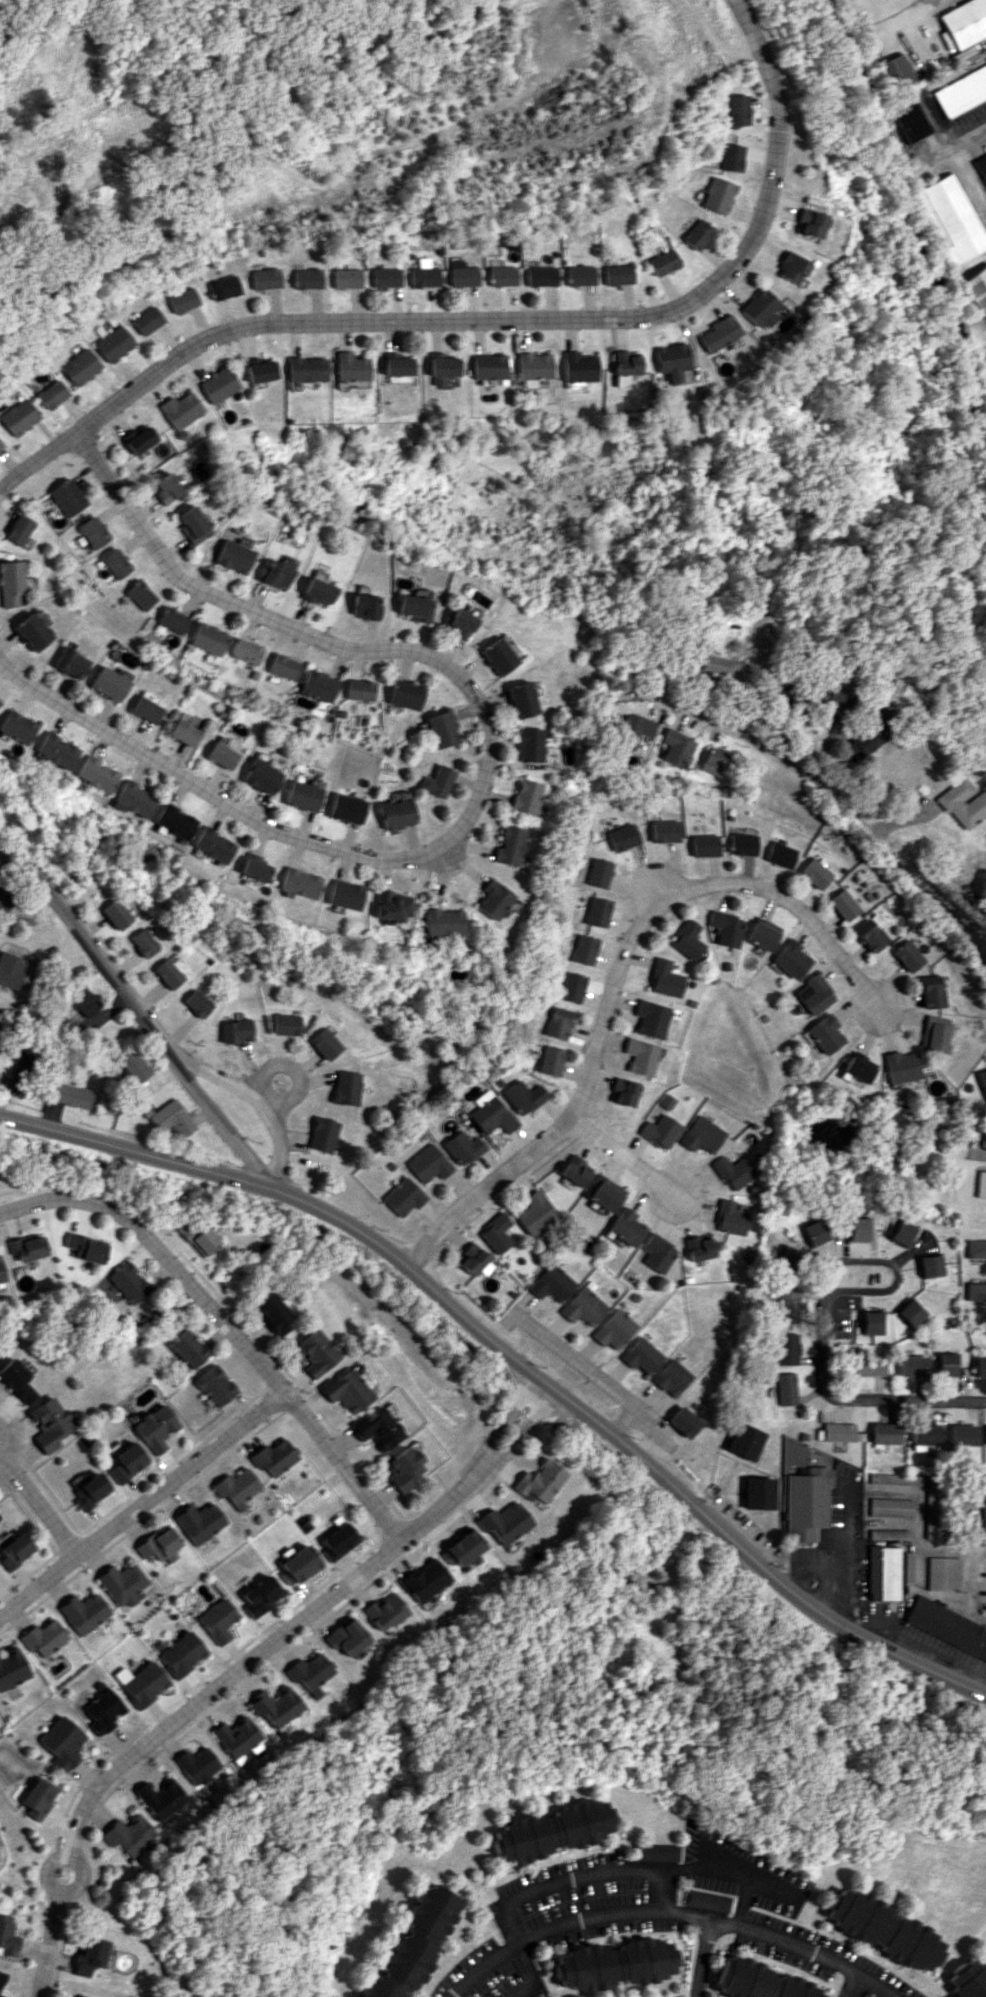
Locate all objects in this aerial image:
building: (964, 21)
building: (985, 58)
building: (896, 70)
building: (961, 92)
building: (738, 110)
building: (911, 121)
road: (961, 142)
building: (731, 157)
building: (981, 165)
building: (718, 195)
building: (949, 219)
building: (807, 223)
building: (697, 234)
building: (663, 262)
building: (789, 268)
building: (461, 273)
building: (423, 274)
building: (617, 274)
building: (502, 275)
building: (580, 275)
building: (540, 276)
building: (384, 277)
building: (306, 278)
building: (345, 278)
building: (265, 279)
building: (223, 287)
building: (976, 288)
building: (182, 300)
building: (758, 308)
building: (146, 320)
road: (539, 324)
building: (716, 333)
building: (112, 343)
building: (668, 360)
building: (623, 362)
building: (394, 365)
building: (440, 365)
building: (78, 366)
building: (485, 366)
building: (576, 367)
building: (530, 368)
building: (303, 369)
building: (256, 370)
building: (348, 371)
building: (214, 384)
building: (48, 394)
building: (176, 412)
building: (16, 416)
building: (134, 439)
building: (163, 488)
building: (65, 497)
building: (192, 525)
building: (18, 529)
building: (92, 532)
building: (233, 556)
building: (116, 563)
building: (273, 574)
building: (11, 583)
building: (314, 591)
building: (141, 595)
building: (359, 606)
building: (412, 608)
building: (174, 620)
building: (458, 622)
building: (33, 631)
building: (209, 639)
building: (246, 651)
building: (500, 655)
building: (718, 662)
building: (70, 663)
building: (282, 666)
building: (109, 684)
building: (318, 686)
building: (359, 690)
building: (405, 694)
building: (839, 694)
building: (521, 700)
building: (146, 709)
building: (16, 727)
building: (441, 729)
road: (484, 731)
building: (633, 731)
building: (183, 732)
building: (872, 733)
building: (529, 745)
building: (675, 748)
building: (56, 751)
building: (221, 755)
building: (713, 761)
building: (95, 774)
building: (261, 776)
building: (436, 781)
building: (302, 796)
building: (524, 796)
building: (132, 799)
building: (962, 803)
building: (346, 808)
road: (863, 811)
building: (395, 813)
building: (174, 822)
building: (663, 831)
building: (621, 837)
building: (742, 843)
building: (212, 845)
building: (508, 845)
building: (704, 845)
building: (782, 854)
building: (254, 867)
building: (597, 872)
building: (817, 873)
building: (298, 883)
road: (664, 891)
building: (344, 894)
building: (5, 899)
building: (492, 900)
building: (847, 903)
building: (391, 905)
building: (596, 912)
building: (115, 914)
building: (442, 922)
building: (723, 928)
building: (872, 933)
building: (761, 934)
building: (684, 940)
building: (142, 942)
building: (583, 949)
building: (910, 955)
building: (790, 959)
building: (11, 970)
building: (167, 973)
road: (611, 975)
building: (663, 979)
building: (572, 987)
building: (933, 991)
building: (813, 994)
building: (83, 1001)
building: (197, 1003)
road: (143, 1017)
building: (651, 1018)
building: (558, 1023)
building: (286, 1024)
building: (237, 1030)
building: (936, 1033)
building: (823, 1034)
building: (326, 1043)
building: (640, 1056)
building: (549, 1060)
building: (133, 1066)
building: (857, 1067)
building: (901, 1067)
road: (293, 1070)
building: (21, 1072)
building: (983, 1079)
building: (346, 1088)
building: (622, 1092)
building: (71, 1095)
building: (523, 1097)
road: (254, 1102)
building: (492, 1116)
building: (169, 1118)
building: (660, 1131)
building: (322, 1134)
building: (702, 1135)
building: (984, 1139)
building: (463, 1148)
road: (625, 1154)
building: (428, 1163)
building: (391, 1165)
road: (183, 1170)
building: (574, 1170)
building: (733, 1171)
building: (981, 1184)
building: (602, 1193)
building: (403, 1196)
building: (534, 1213)
building: (730, 1218)
building: (625, 1227)
building: (857, 1228)
building: (495, 1233)
building: (815, 1233)
building: (902, 1233)
building: (196, 1237)
building: (26, 1247)
building: (699, 1247)
building: (85, 1248)
building: (976, 1249)
building: (657, 1253)
building: (785, 1258)
building: (473, 1261)
road: (894, 1265)
building: (929, 1265)
building: (1, 1276)
building: (127, 1282)
building: (551, 1283)
building: (976, 1291)
building: (787, 1302)
building: (583, 1306)
building: (911, 1312)
building: (271, 1313)
building: (871, 1323)
road: (226, 1325)
building: (614, 1329)
building: (186, 1348)
building: (787, 1348)
building: (315, 1352)
building: (641, 1355)
building: (946, 1364)
building: (866, 1365)
building: (913, 1366)
building: (980, 1368)
building: (672, 1377)
building: (15, 1380)
road: (599, 1380)
building: (214, 1385)
building: (786, 1388)
building: (346, 1391)
road: (855, 1405)
building: (684, 1420)
road: (501, 1423)
building: (47, 1424)
road: (628, 1426)
building: (154, 1427)
building: (377, 1429)
road: (0, 1430)
building: (839, 1431)
building: (885, 1433)
building: (964, 1435)
road: (518, 1436)
building: (924, 1436)
building: (744, 1441)
building: (273, 1457)
building: (126, 1462)
building: (403, 1468)
building: (895, 1479)
road: (663, 1480)
building: (538, 1481)
building: (236, 1487)
building: (90, 1491)
building: (758, 1492)
building: (807, 1503)
road: (36, 1504)
road: (142, 1505)
building: (890, 1507)
building: (929, 1507)
building: (982, 1508)
building: (199, 1522)
building: (504, 1522)
building: (338, 1541)
building: (160, 1544)
building: (460, 1549)
building: (14, 1550)
road: (840, 1562)
building: (298, 1564)
road: (968, 1566)
building: (883, 1572)
building: (943, 1573)
building: (424, 1580)
building: (123, 1584)
building: (260, 1595)
building: (384, 1611)
building: (84, 1612)
building: (218, 1620)
building: (947, 1626)
building: (345, 1636)
building: (43, 1637)
building: (181, 1653)
building: (12, 1668)
building: (308, 1673)
building: (140, 1682)
road: (200, 1700)
building: (273, 1707)
building: (101, 1709)
building: (233, 1736)
building: (58, 1742)
building: (194, 1765)
building: (34, 1797)
building: (157, 1798)
building: (552, 1830)
building: (126, 1834)
building: (657, 1852)
road: (731, 1875)
road: (581, 1877)
building: (707, 1900)
road: (741, 1903)
road: (670, 1911)
building: (882, 1929)
building: (7, 1937)
building: (414, 1944)
building: (89, 1955)
road: (699, 1958)
building: (613, 1964)
road: (532, 1974)
building: (1, 1977)
building: (967, 1980)
building: (758, 1981)
road: (849, 1985)
building: (2, 1996)
building: (80, 1996)

